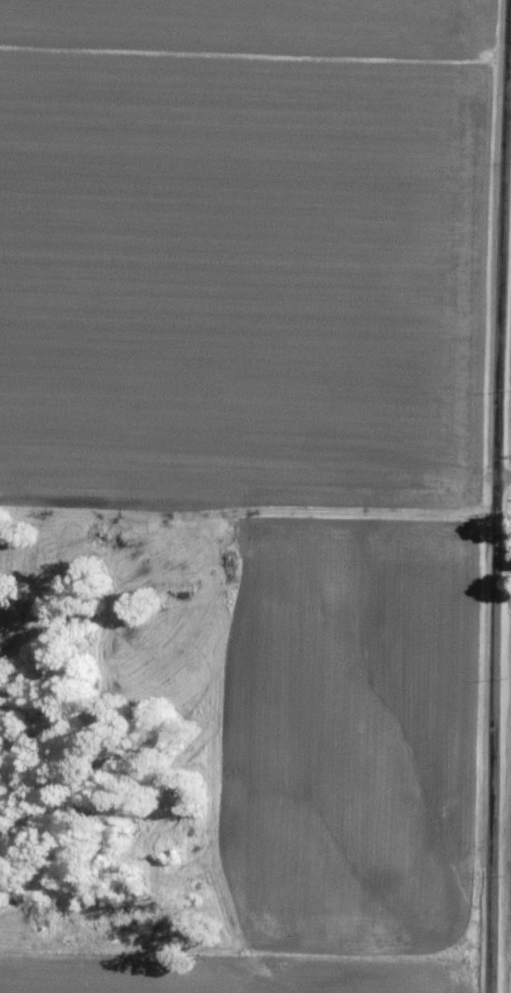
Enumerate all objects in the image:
road: (503, 735)

